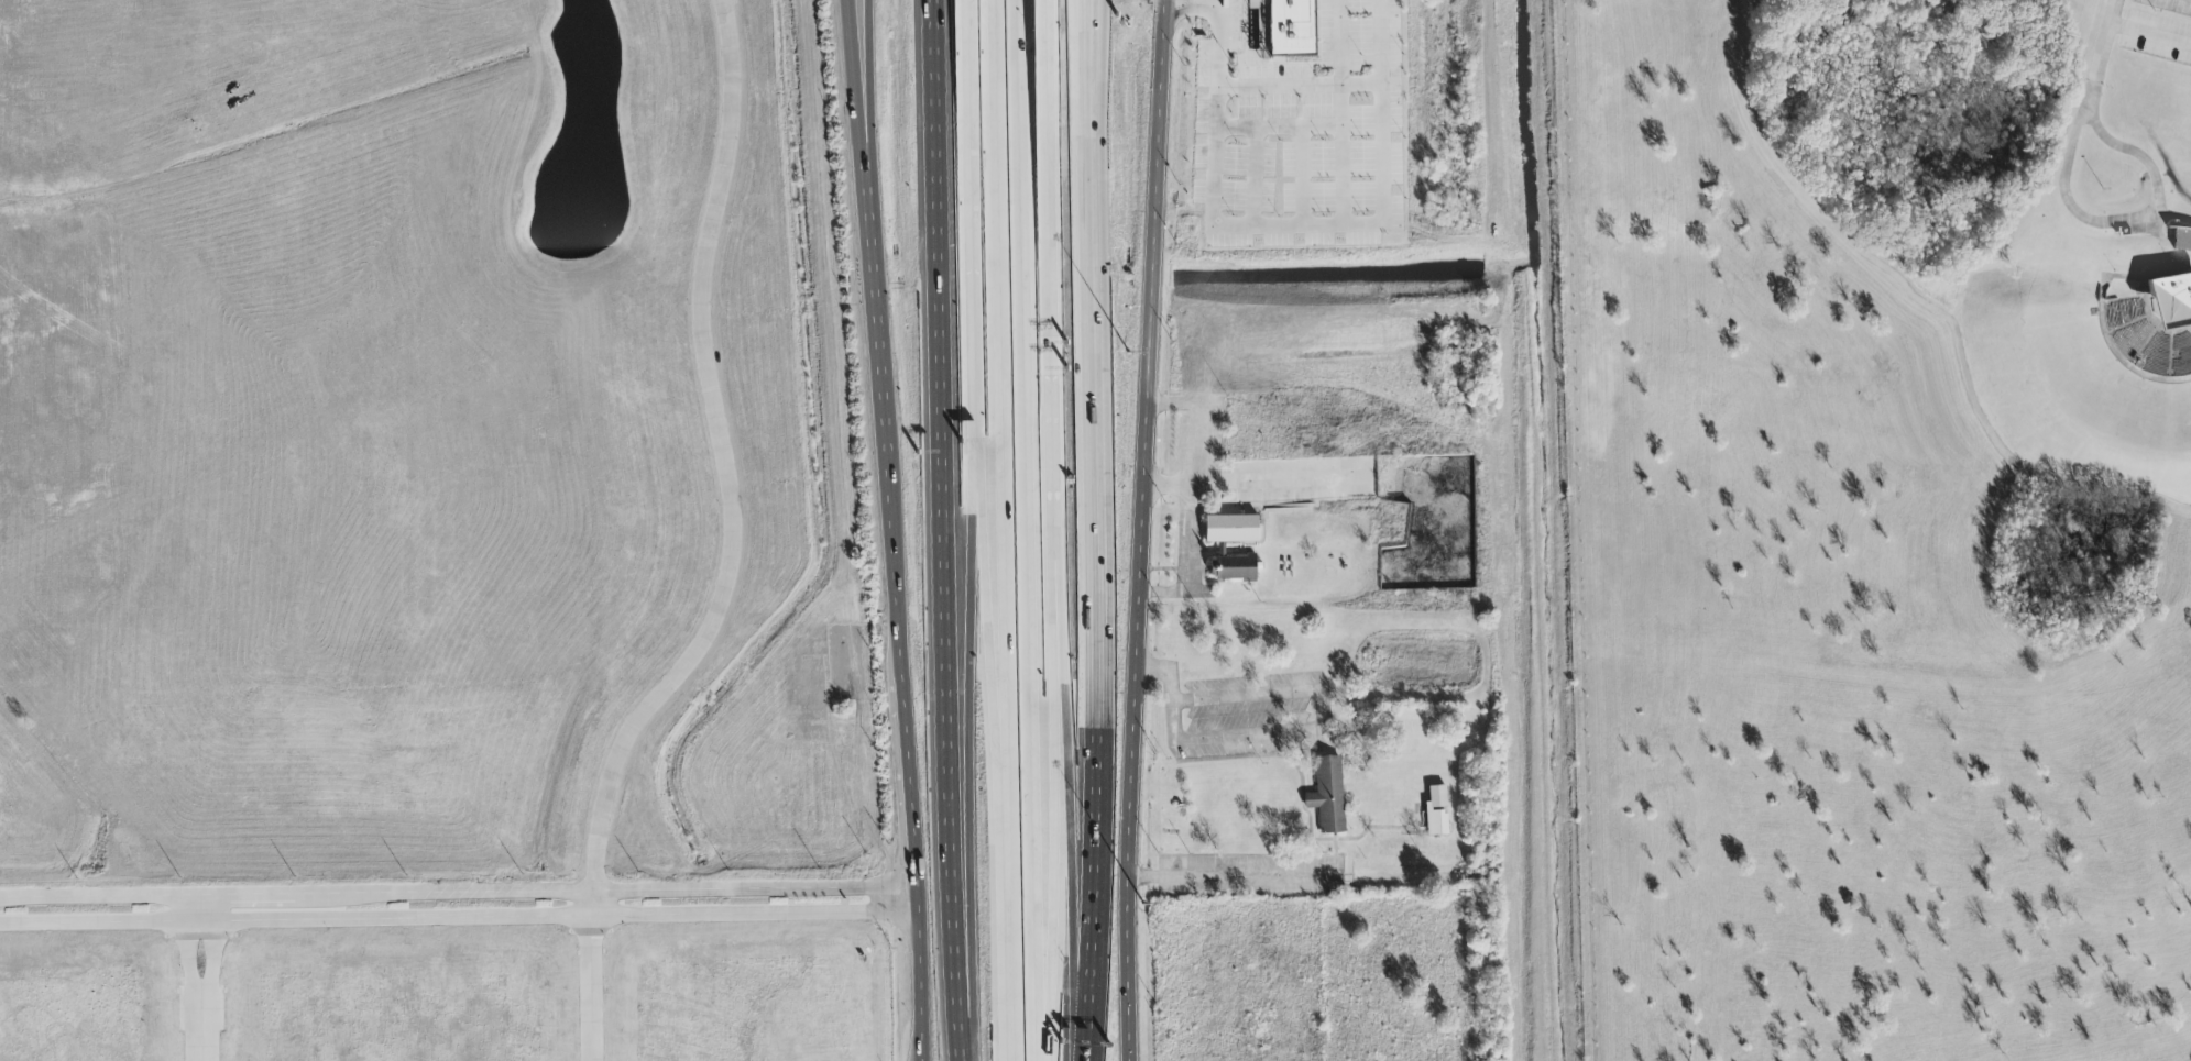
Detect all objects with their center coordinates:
parking lot: (2169, 5)
road: (1196, 8)
building: (1285, 29)
road: (1081, 35)
road: (928, 36)
road: (2151, 36)
parking lot: (2158, 37)
road: (1217, 47)
road: (2103, 57)
road: (856, 85)
road: (865, 85)
road: (1361, 85)
road: (1322, 86)
road: (1341, 107)
road: (1326, 129)
road: (2154, 170)
road: (1253, 177)
road: (1302, 177)
road: (968, 209)
road: (1340, 225)
building: (2182, 241)
road: (1921, 303)
building: (2170, 307)
road: (1118, 308)
road: (1154, 308)
road: (885, 422)
road: (721, 461)
road: (1280, 483)
road: (1170, 486)
road: (1192, 500)
park: (1872, 528)
road: (1001, 530)
road: (1029, 530)
road: (1058, 530)
building: (1229, 546)
road: (1092, 566)
road: (942, 567)
road: (1164, 674)
road: (989, 710)
parking lot: (1258, 711)
road: (1317, 714)
road: (1172, 720)
road: (966, 740)
road: (1053, 750)
road: (907, 781)
building: (1323, 794)
building: (1436, 813)
road: (1133, 838)
road: (1148, 876)
road: (1318, 877)
road: (454, 892)
road: (456, 919)
road: (189, 947)
road: (211, 947)
road: (914, 973)
road: (591, 975)
road: (201, 1027)

